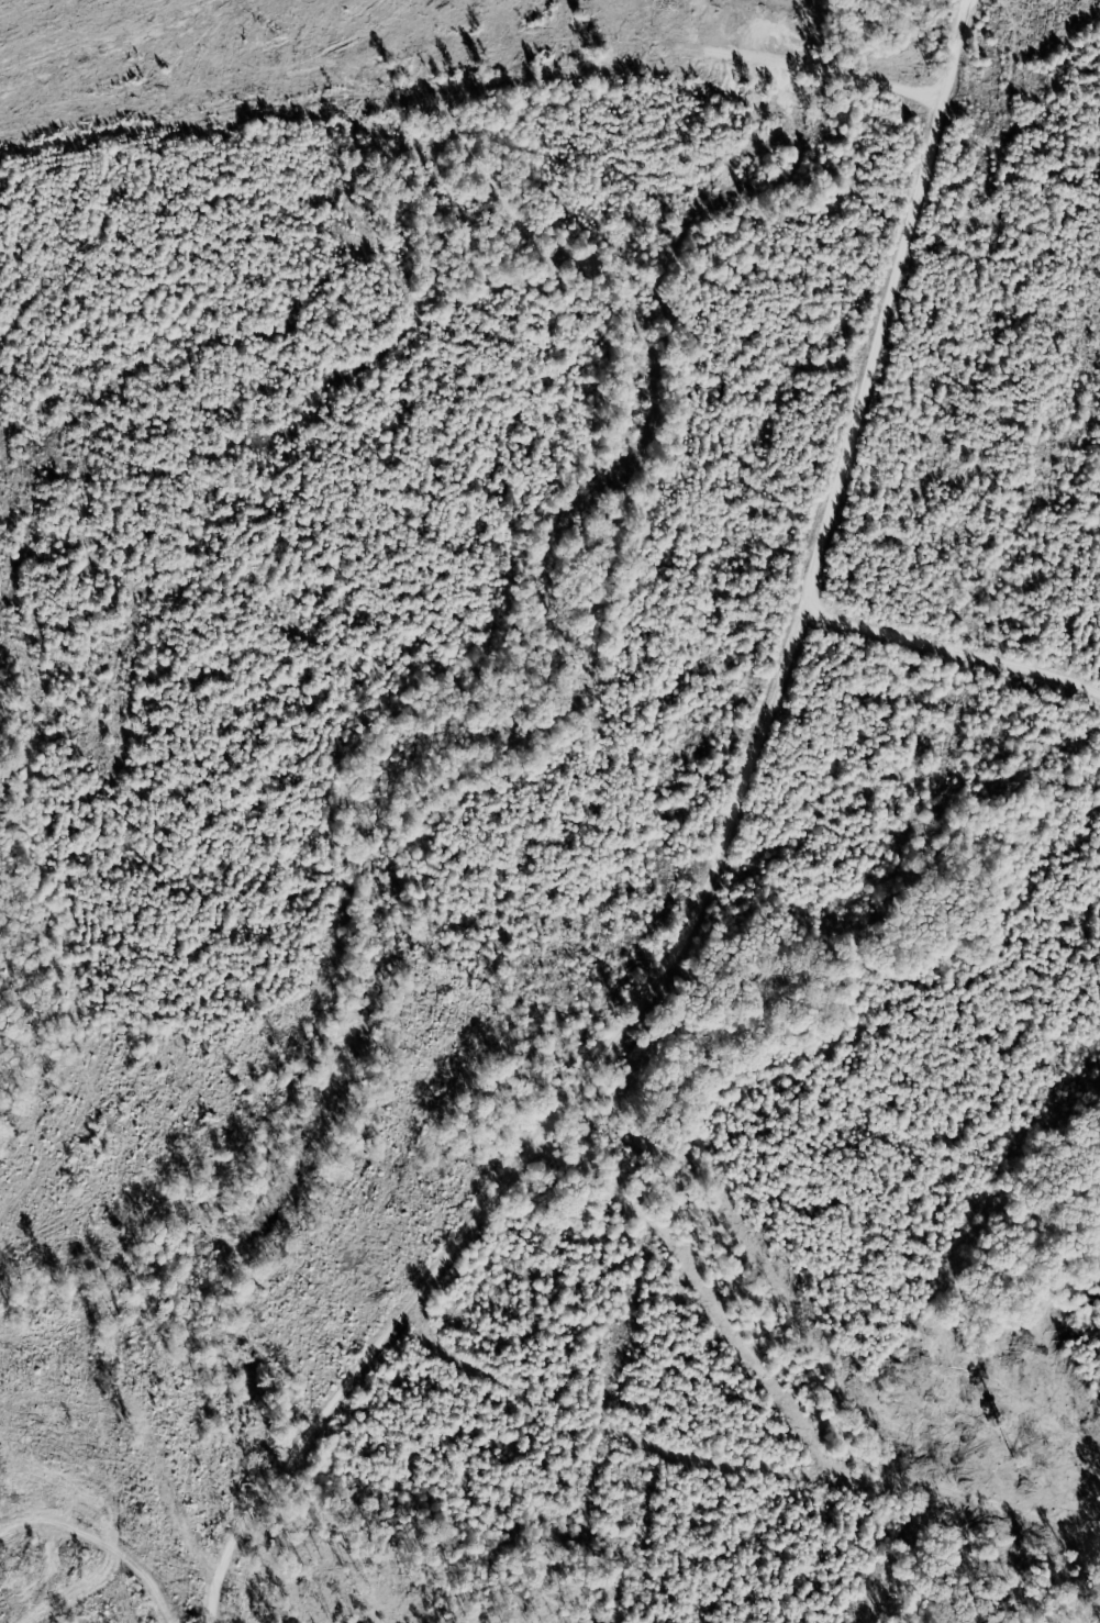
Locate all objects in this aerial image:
road: (949, 656)
road: (691, 904)

